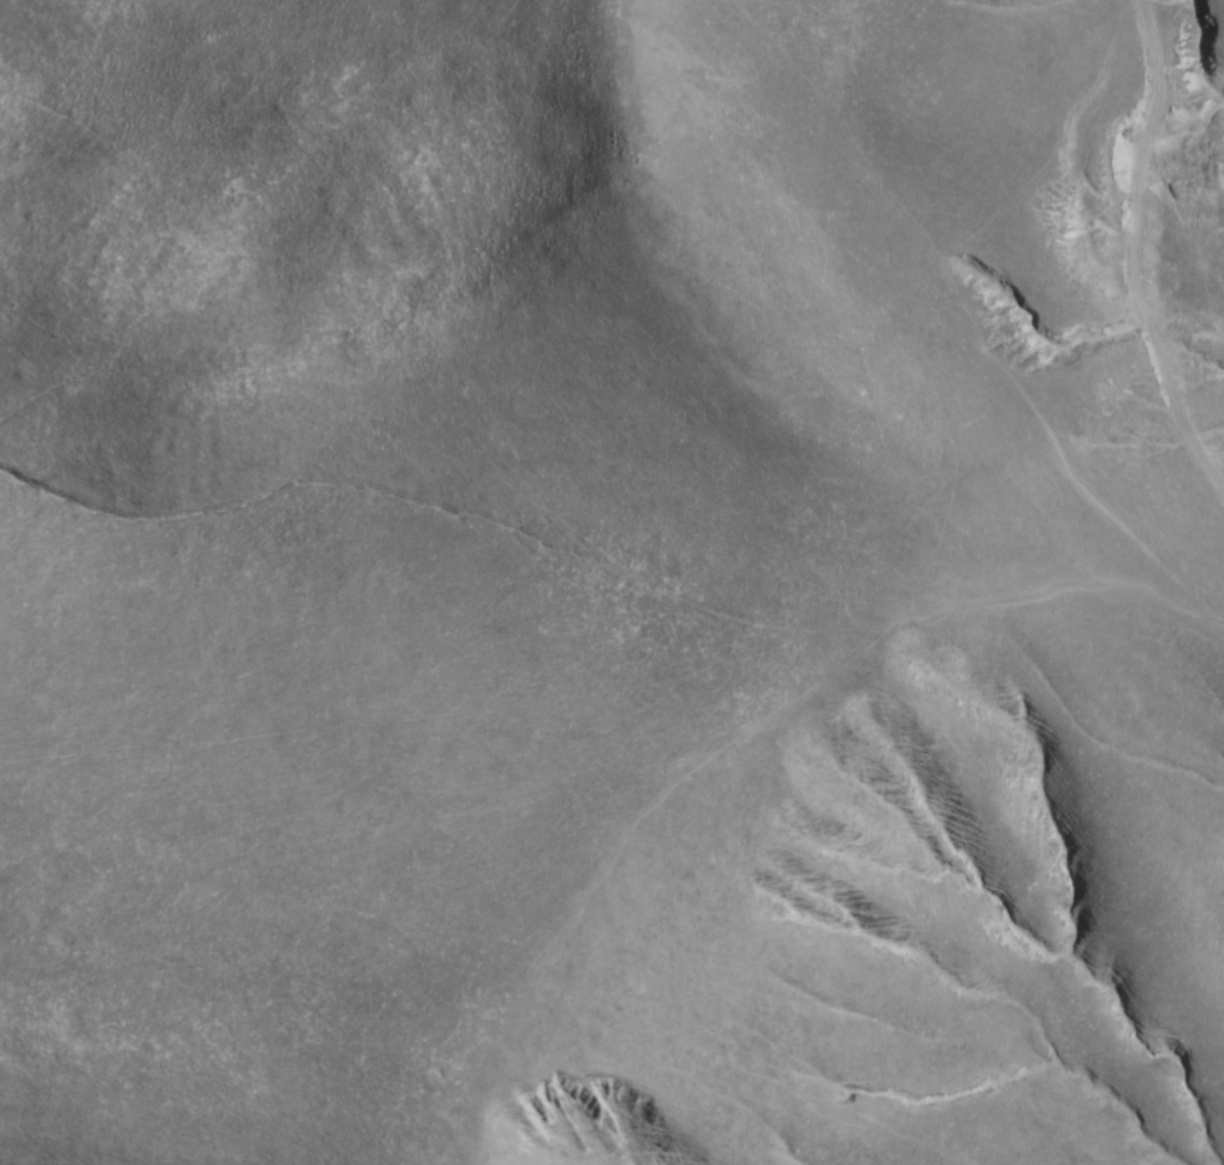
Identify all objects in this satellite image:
road: (1201, 364)

